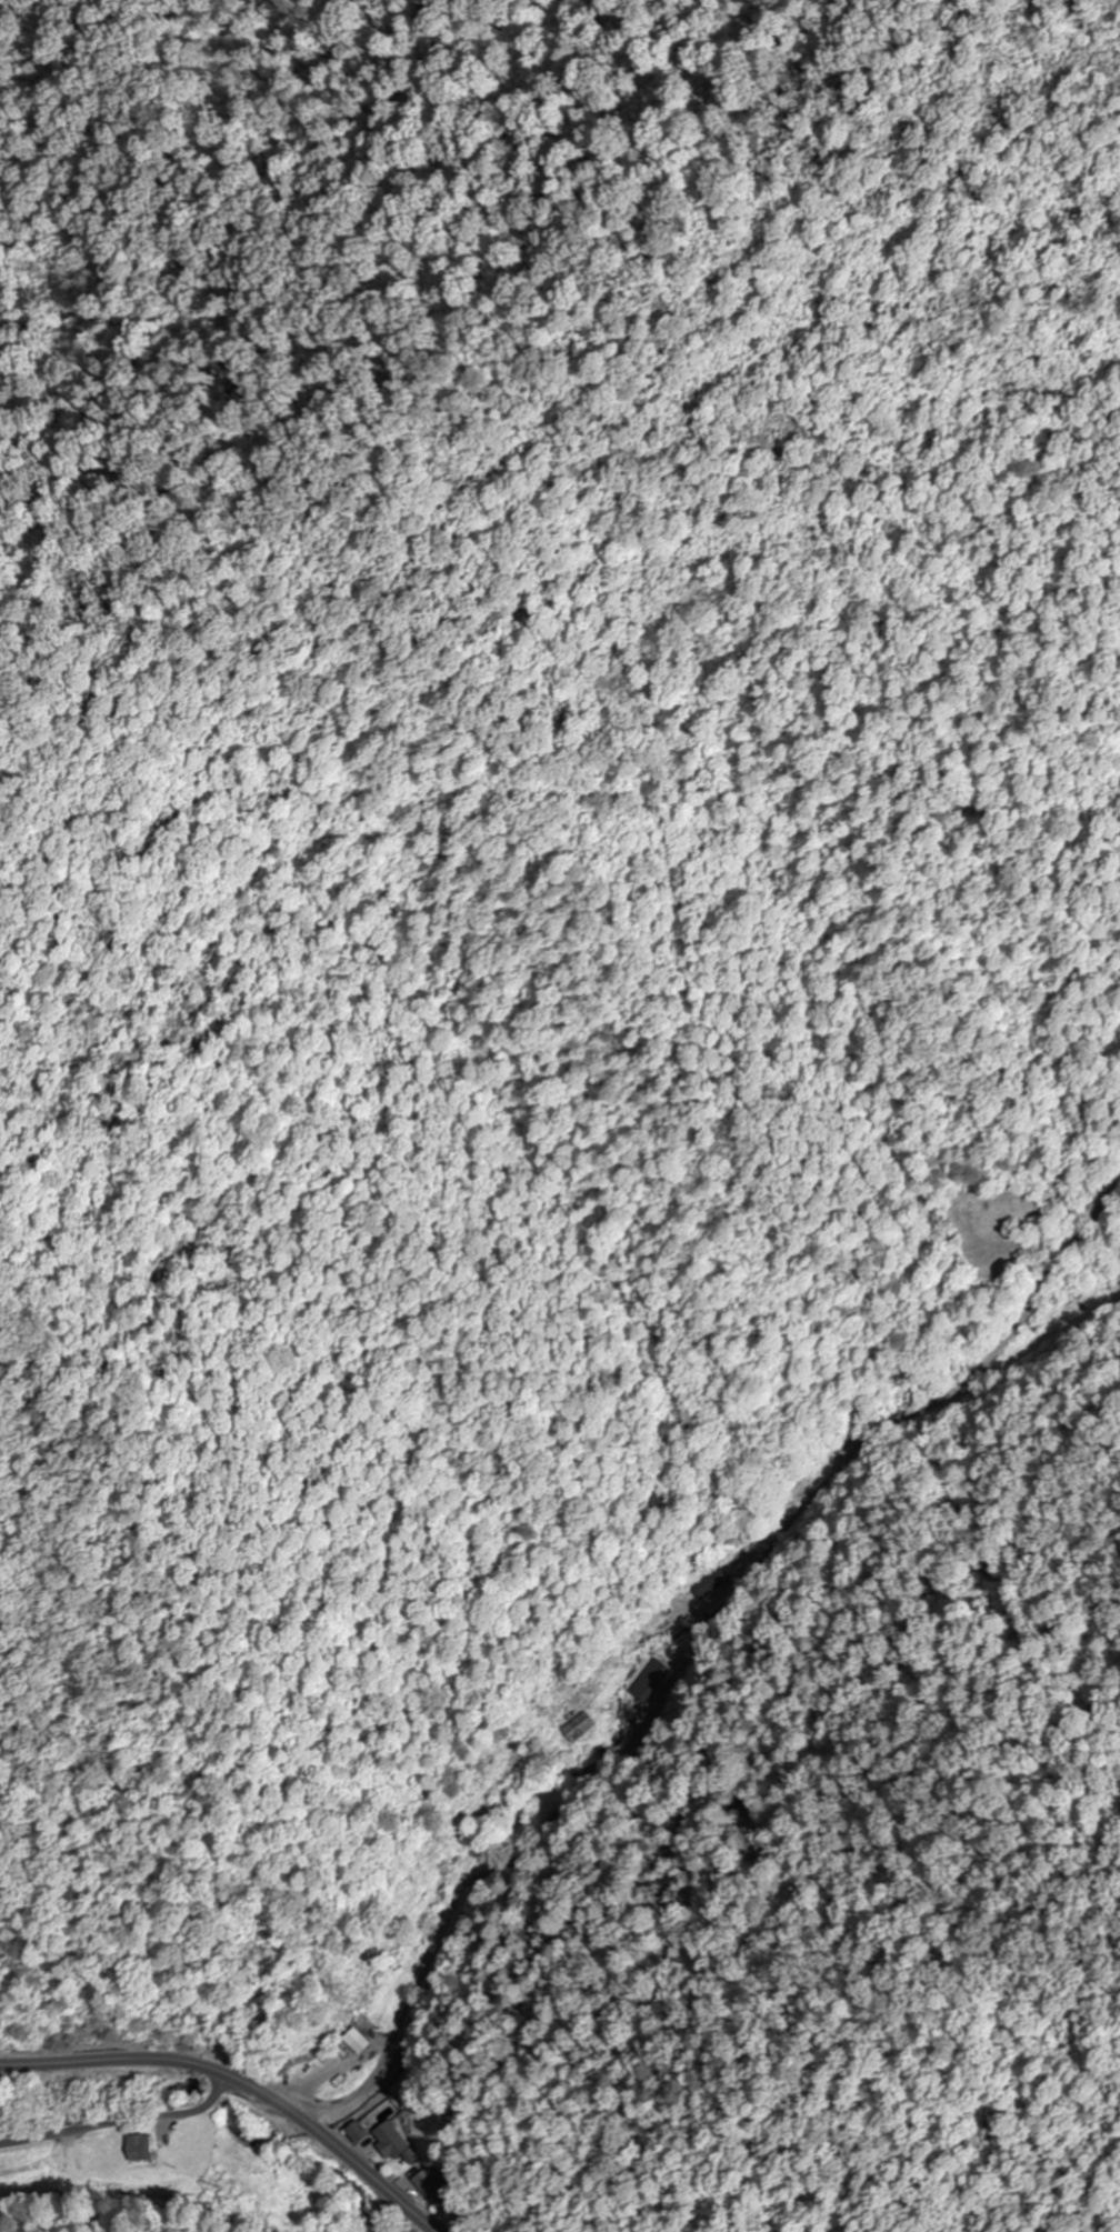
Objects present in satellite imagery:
building: (651, 1502)
building: (712, 1583)
building: (654, 1682)
building: (582, 1731)
road: (450, 1946)
building: (354, 2042)
road: (241, 2083)
road: (367, 2100)
road: (120, 2121)
building: (354, 2133)
building: (391, 2143)
building: (144, 2149)
building: (433, 2190)

